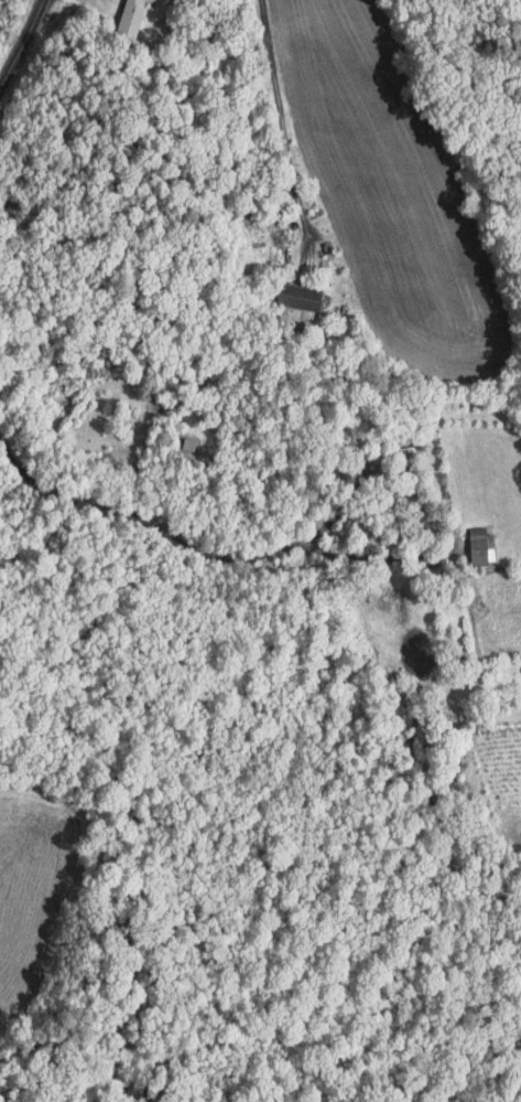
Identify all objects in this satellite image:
building: (153, 0)
building: (156, 0)
building: (140, 1)
building: (129, 18)
road: (22, 43)
road: (280, 117)
building: (297, 295)
road: (341, 504)
building: (484, 545)
road: (194, 547)

